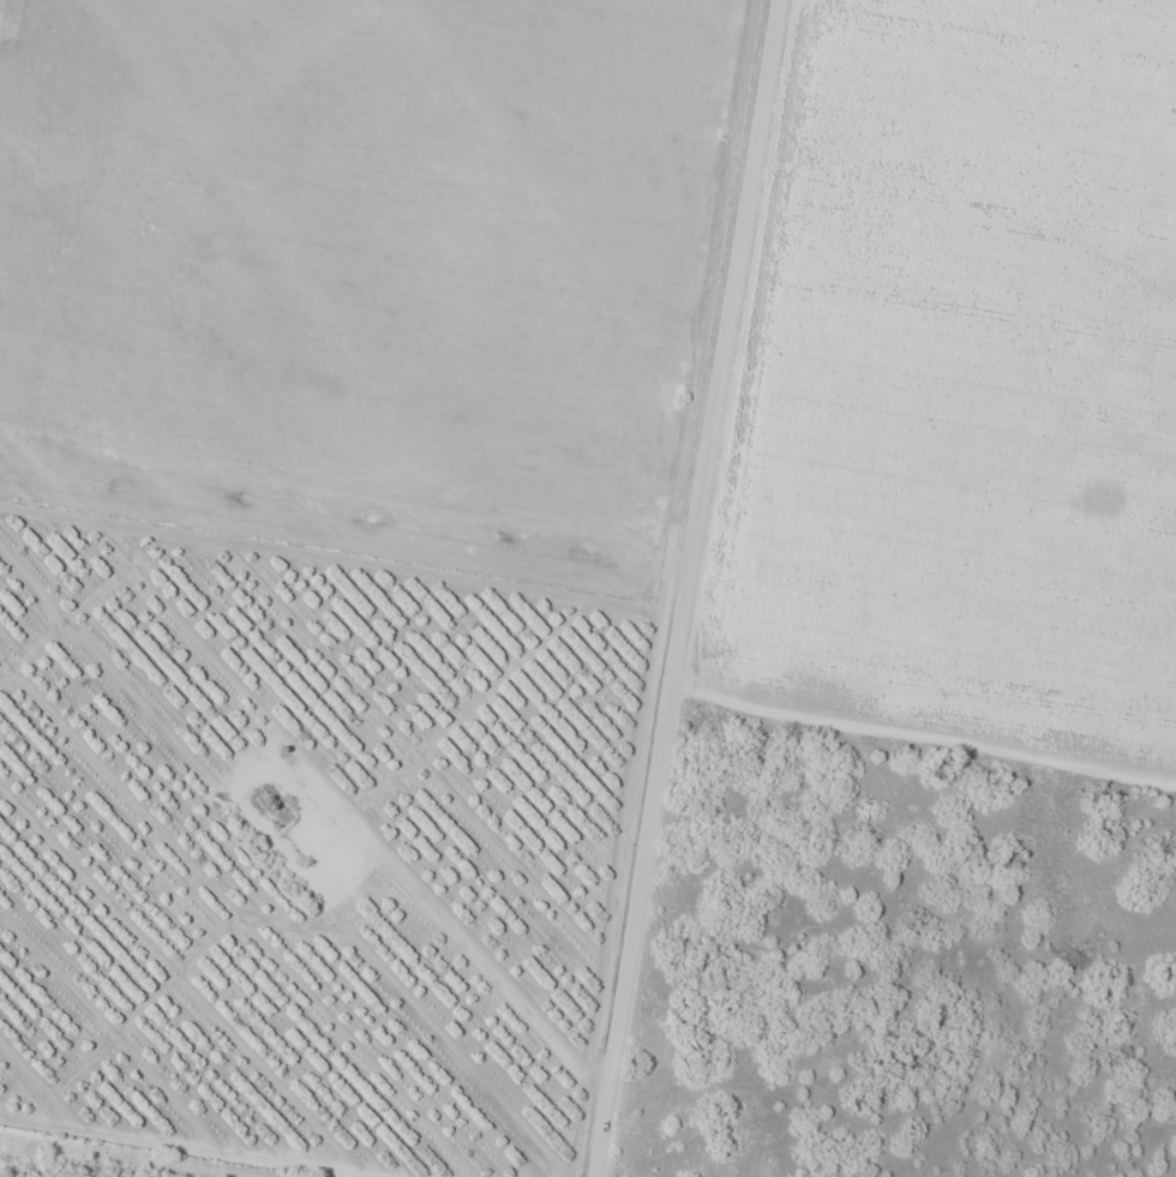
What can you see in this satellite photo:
road: (684, 588)

